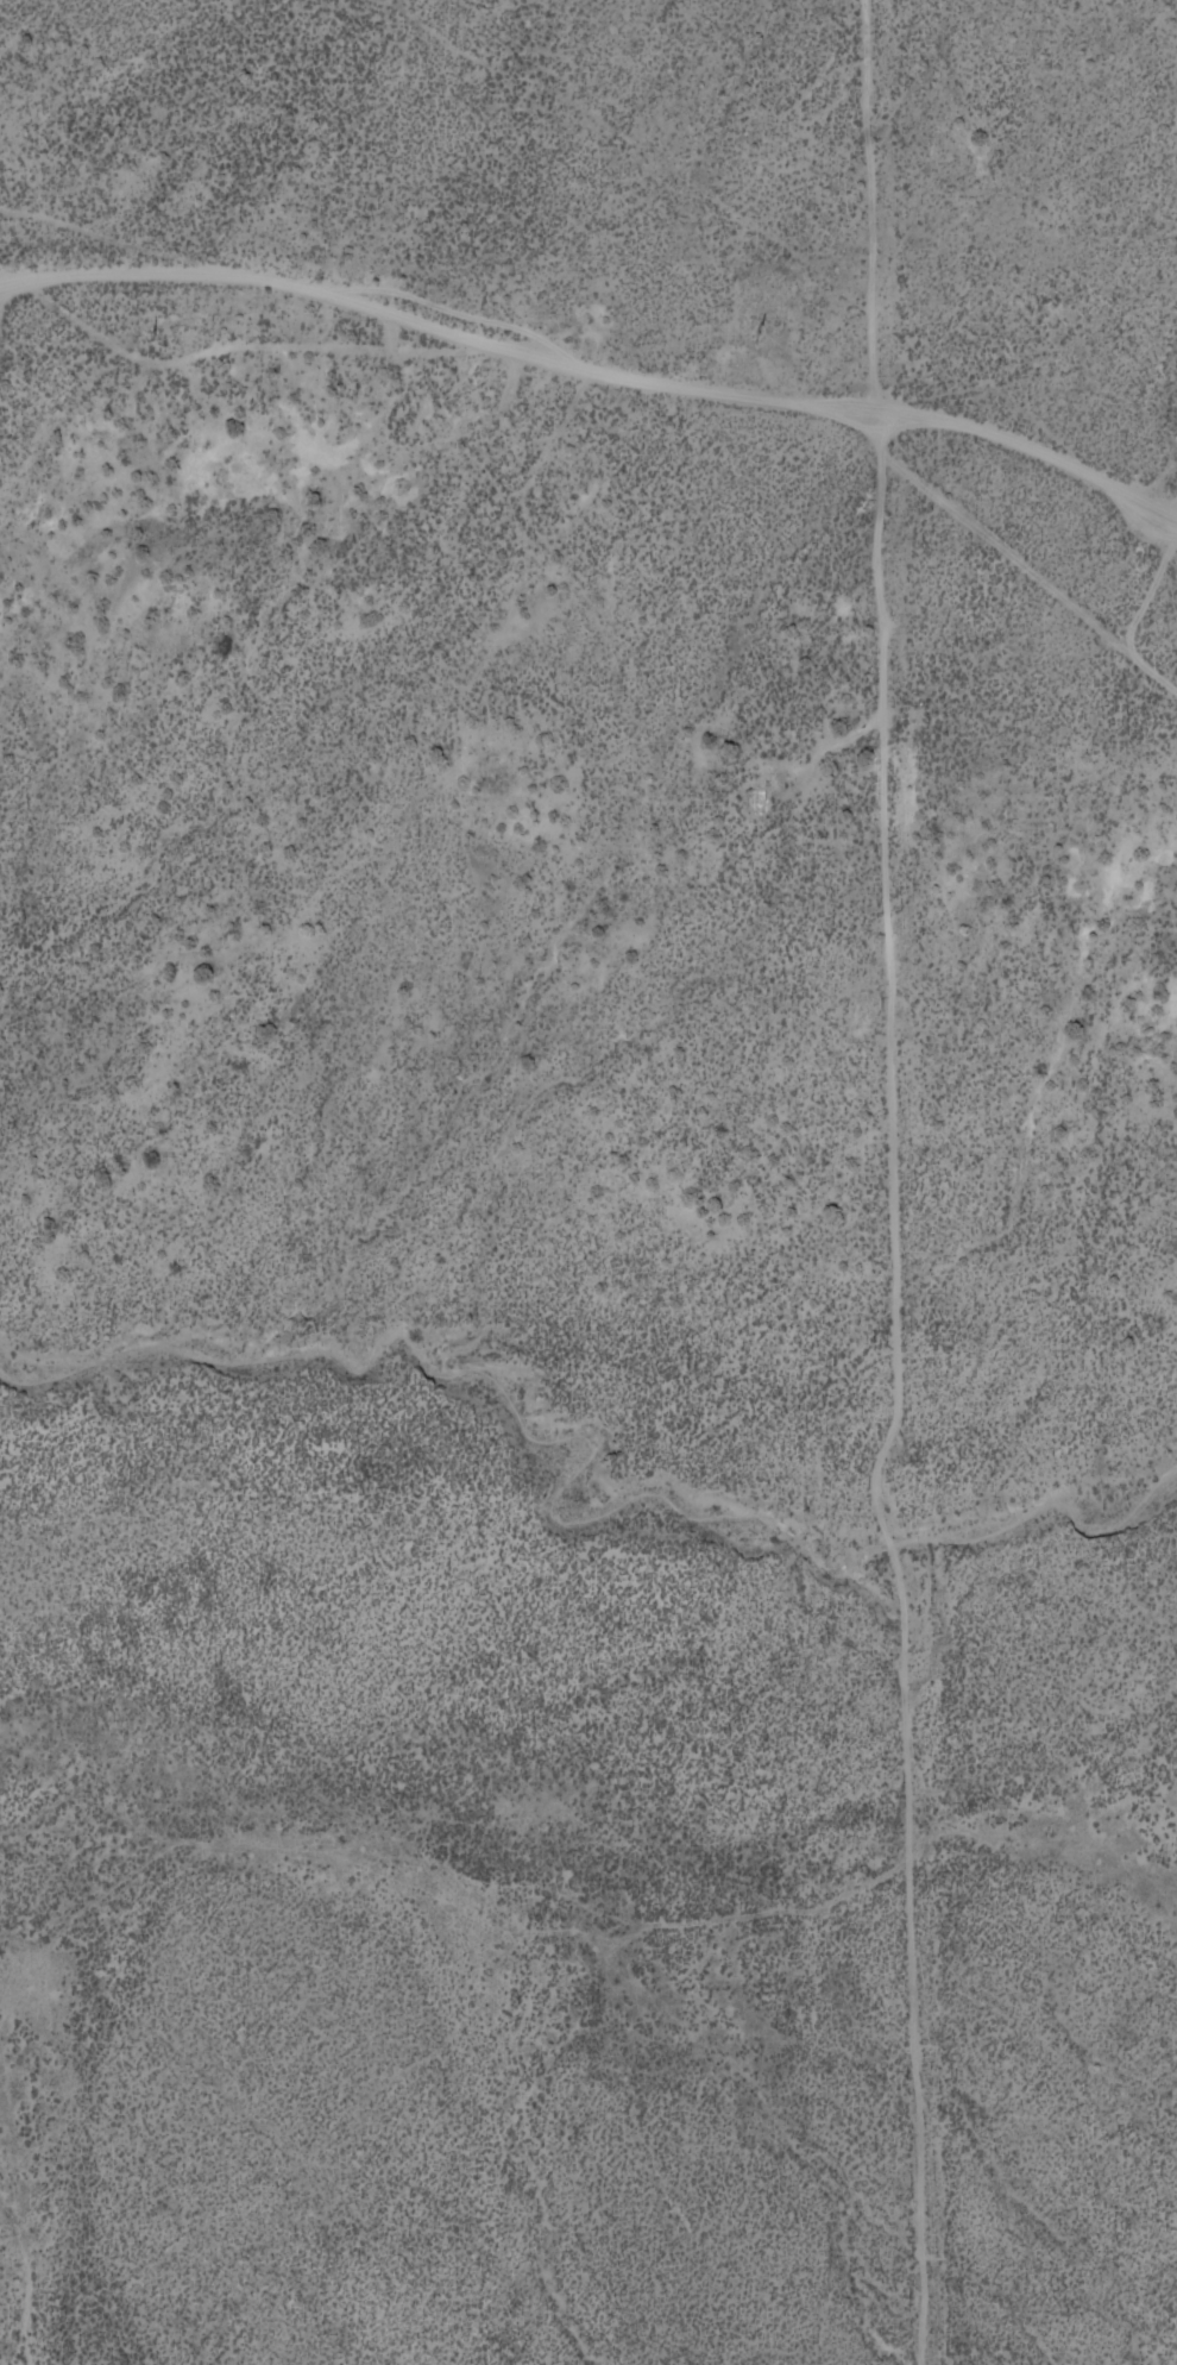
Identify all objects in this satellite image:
power tower: (756, 334)
power tower: (150, 339)
road: (592, 374)

